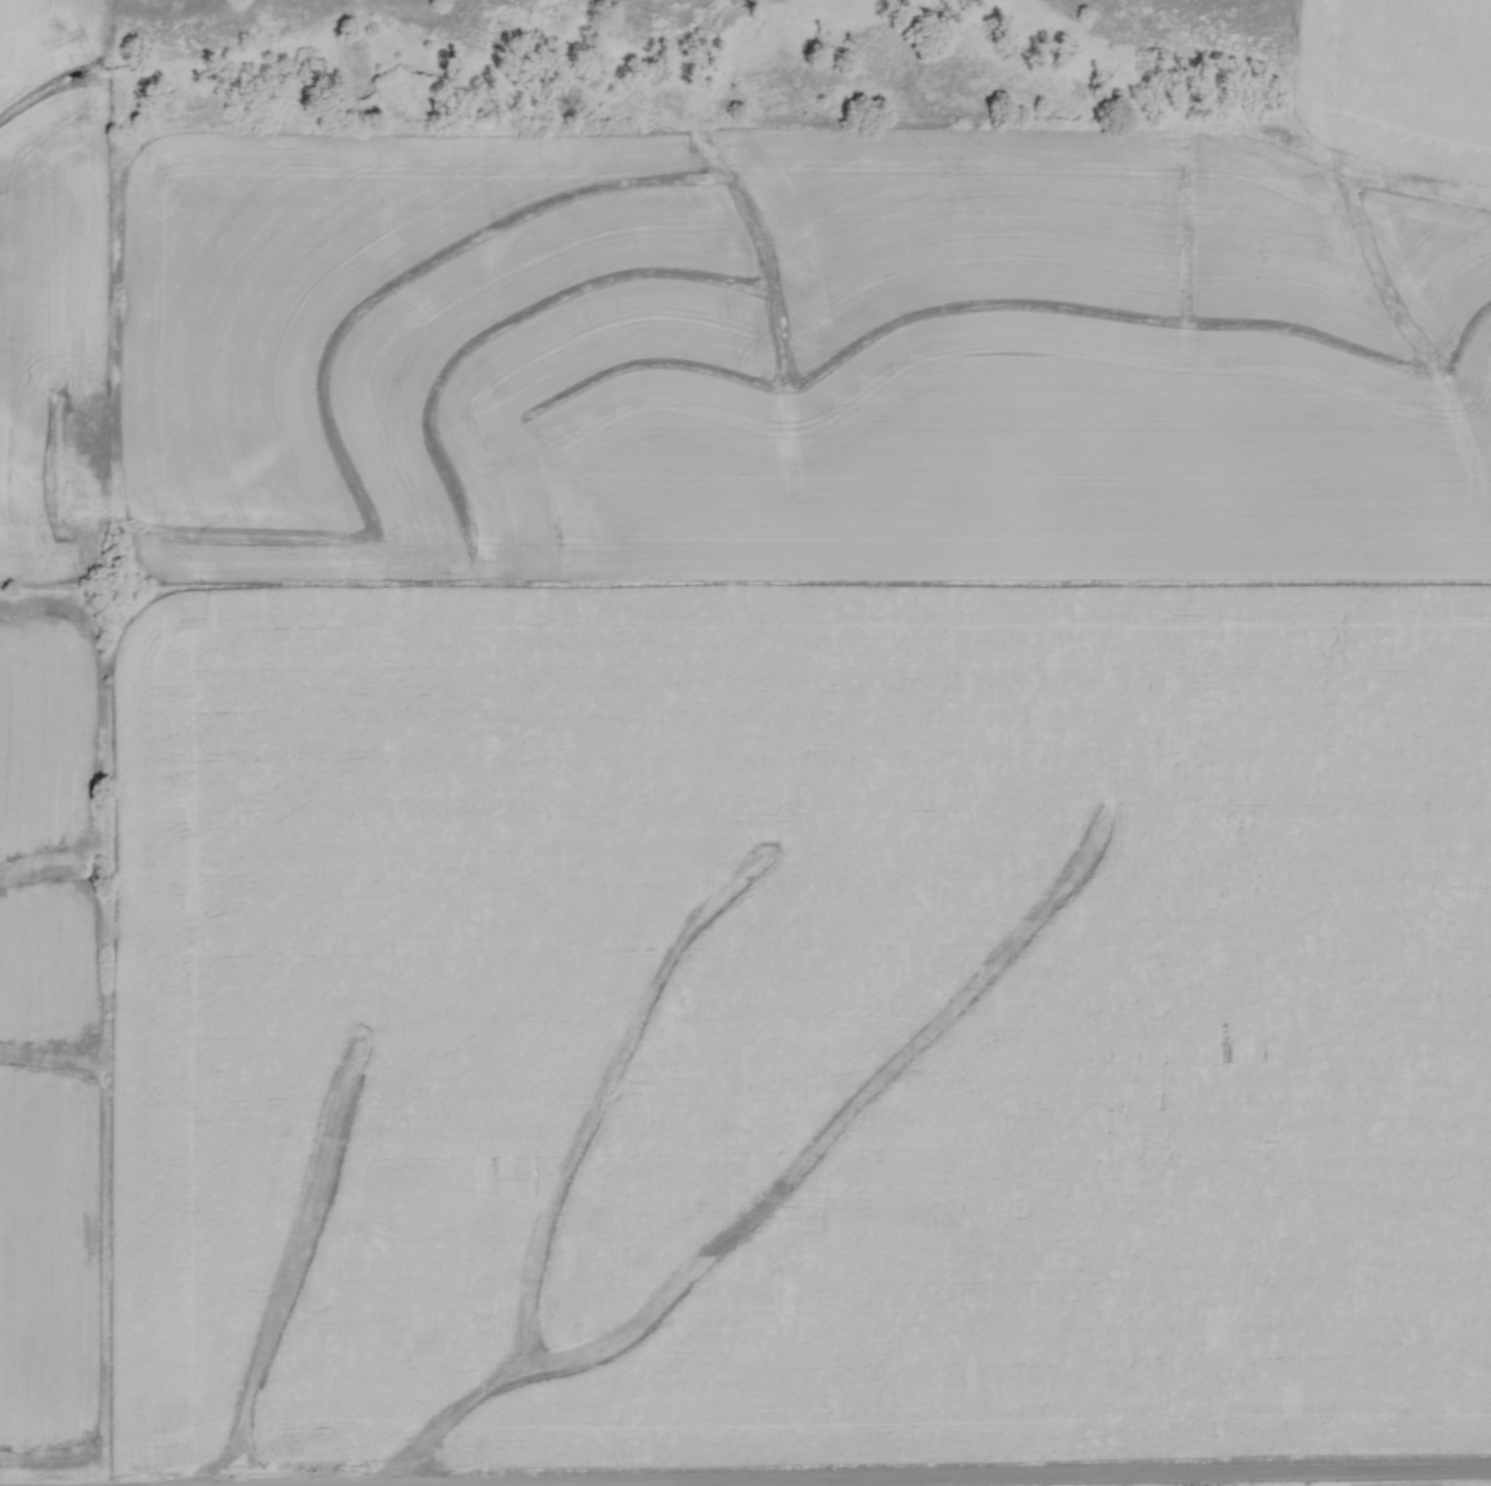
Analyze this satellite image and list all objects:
road: (1036, 1477)

